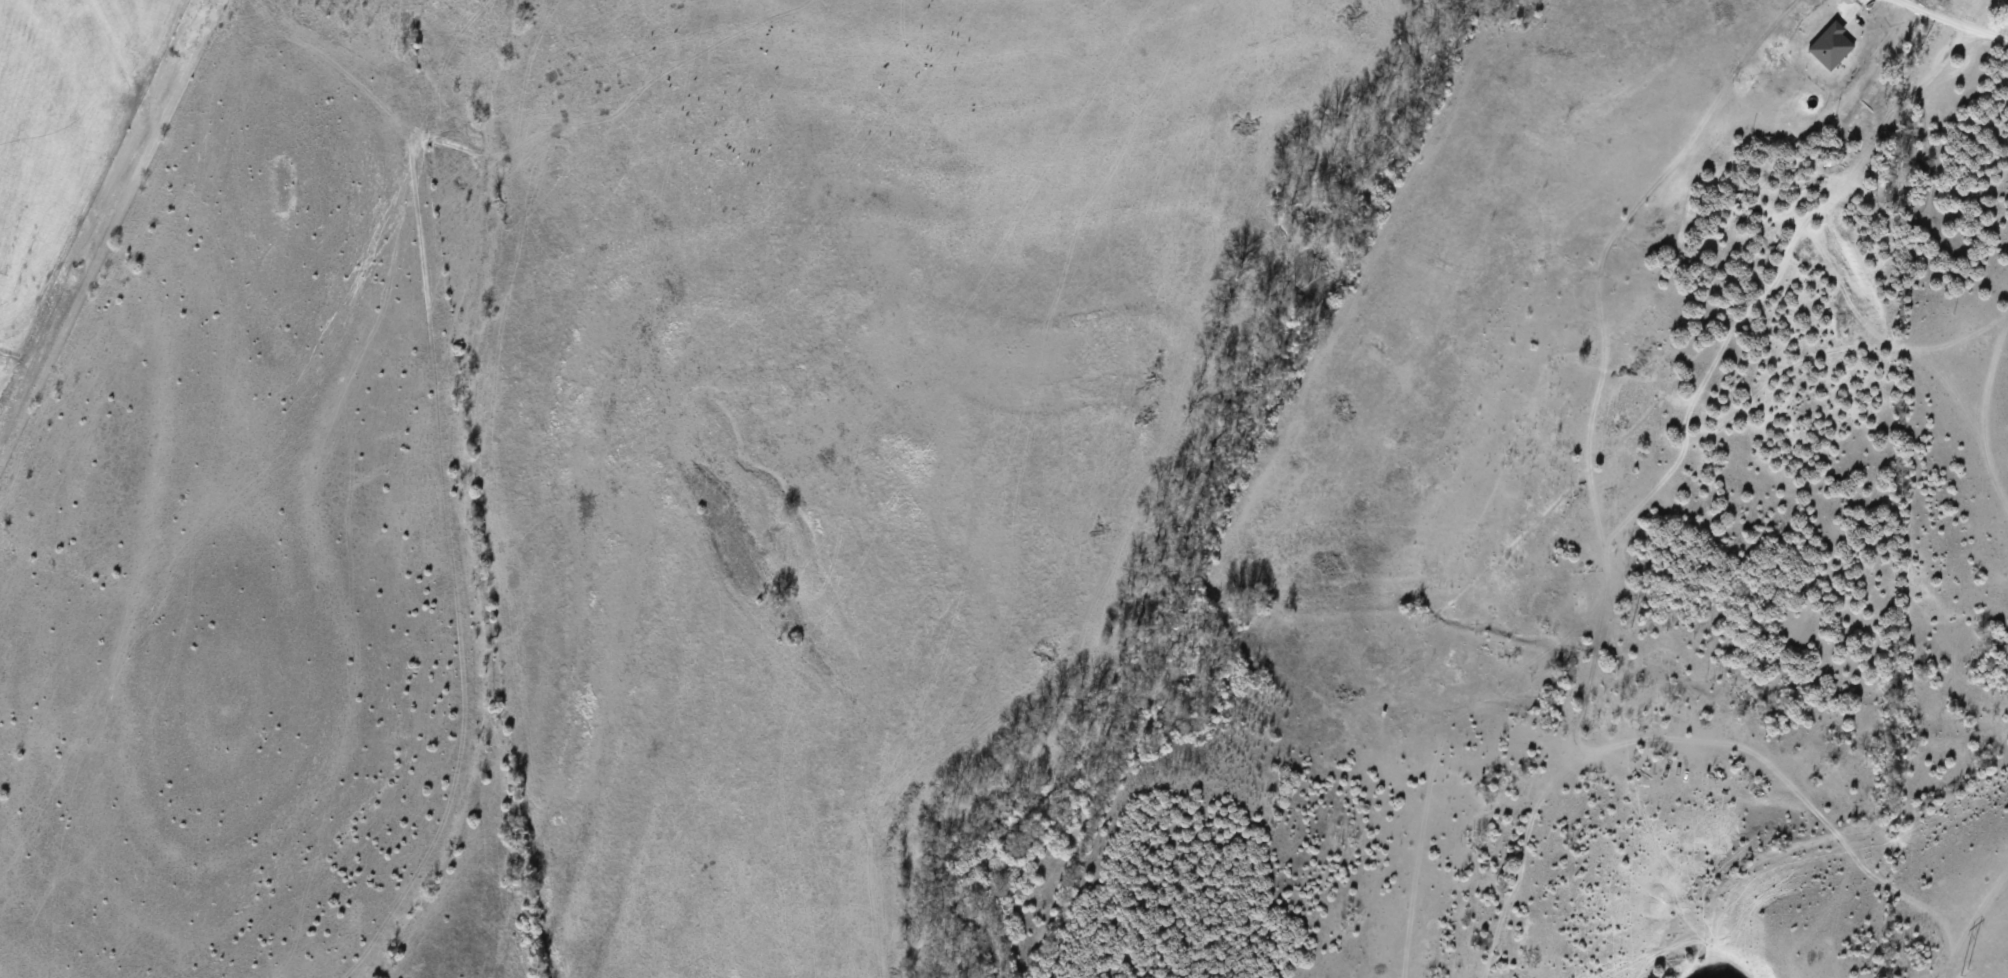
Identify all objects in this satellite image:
power tower: (1309, 279)
power tower: (1634, 622)
power tower: (1963, 971)

